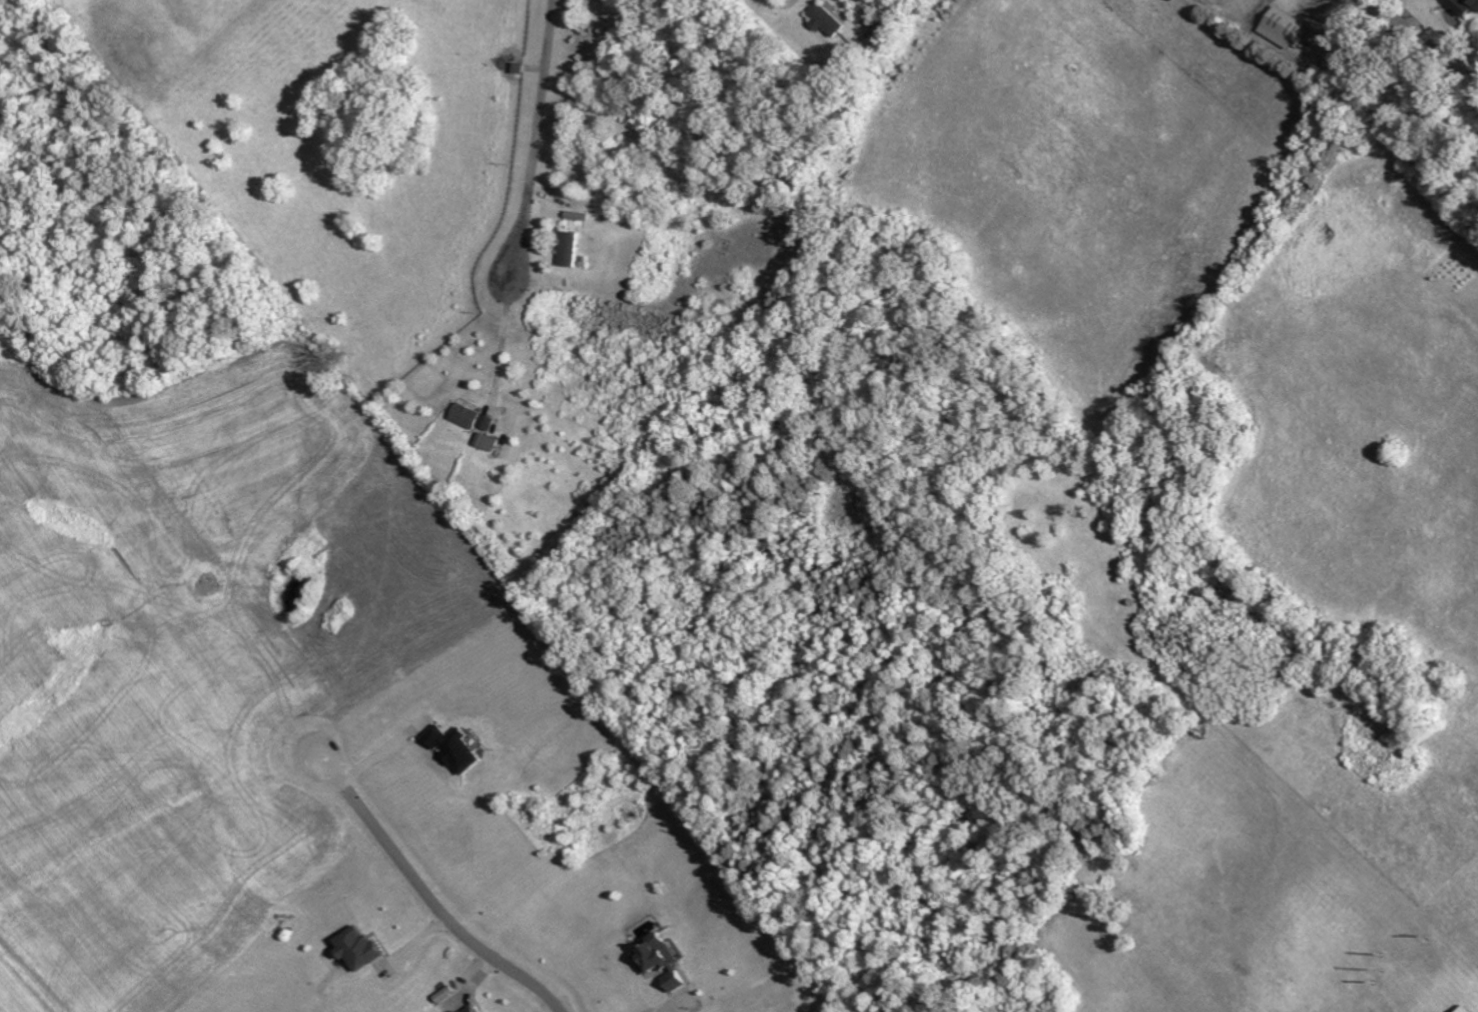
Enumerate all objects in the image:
building: (1465, 5)
building: (827, 19)
building: (1286, 28)
road: (539, 138)
building: (578, 216)
building: (569, 247)
road: (504, 339)
building: (472, 417)
building: (487, 441)
building: (455, 748)
road: (383, 753)
road: (432, 901)
building: (358, 948)
building: (661, 962)
building: (473, 1009)
building: (1467, 1009)
road: (671, 1011)

